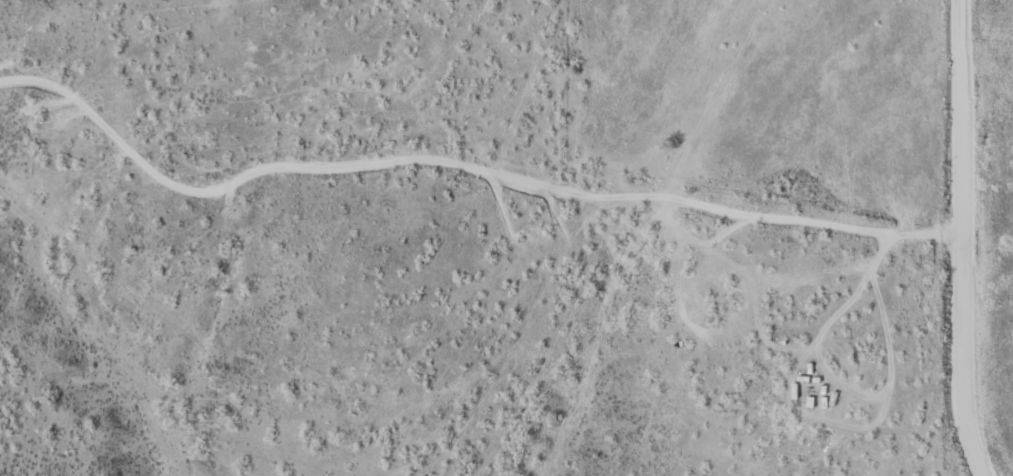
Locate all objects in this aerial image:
road: (461, 162)
road: (957, 239)

